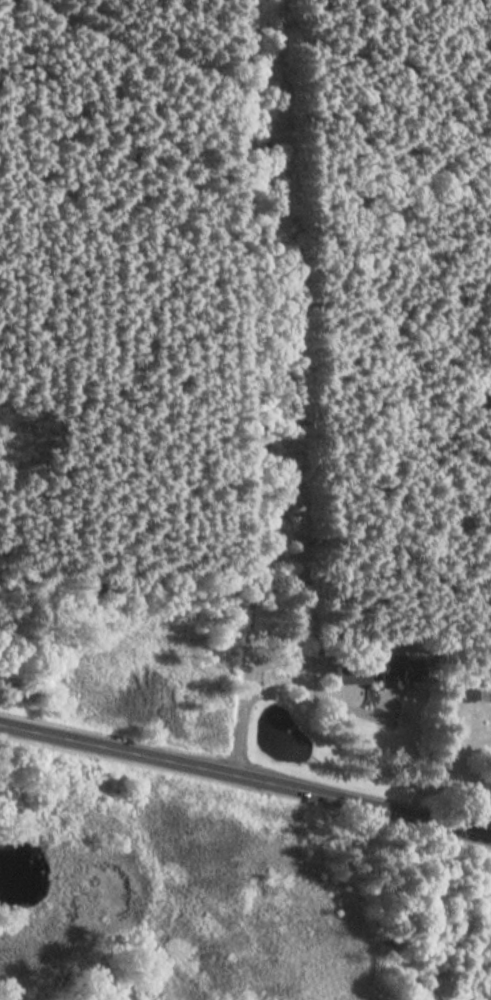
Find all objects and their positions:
road: (138, 56)
road: (274, 392)
building: (348, 674)
building: (397, 674)
road: (283, 697)
road: (436, 763)
road: (245, 783)

